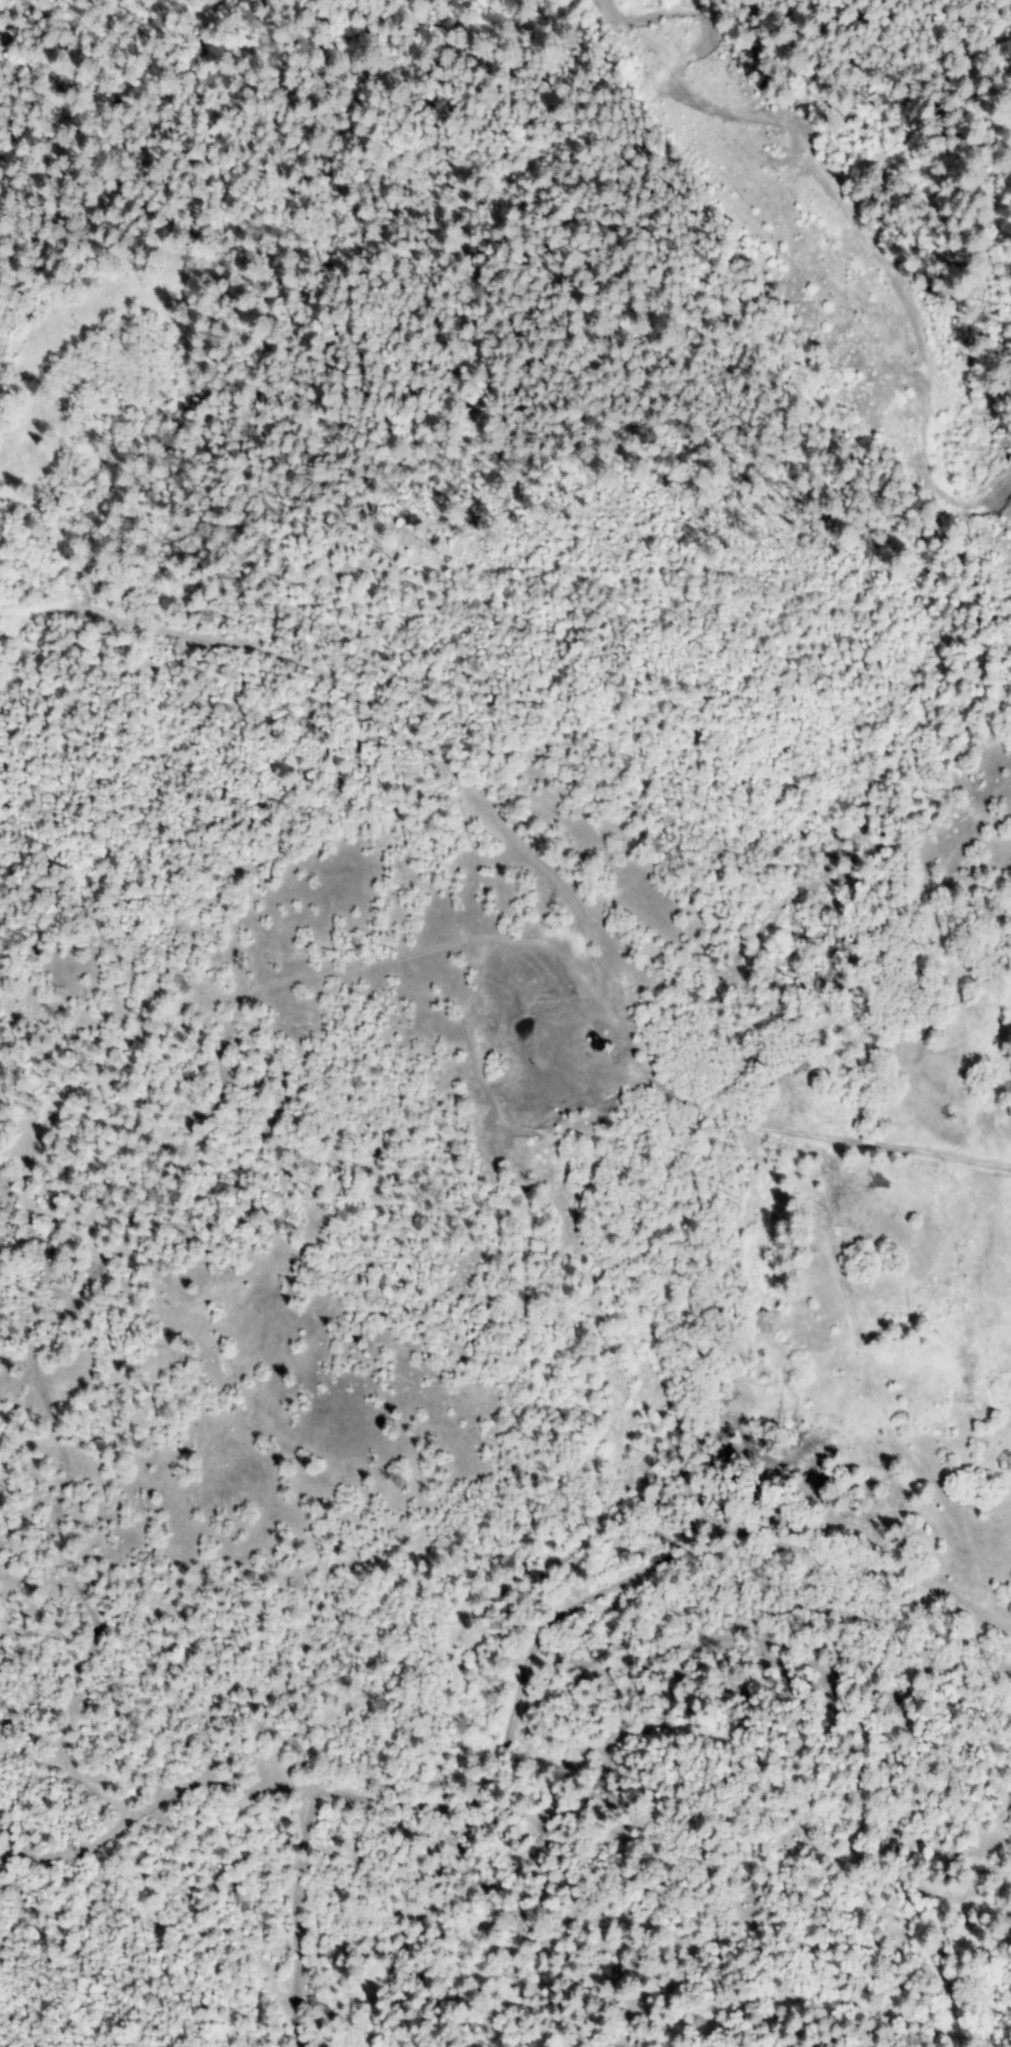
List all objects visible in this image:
road: (489, 1711)

